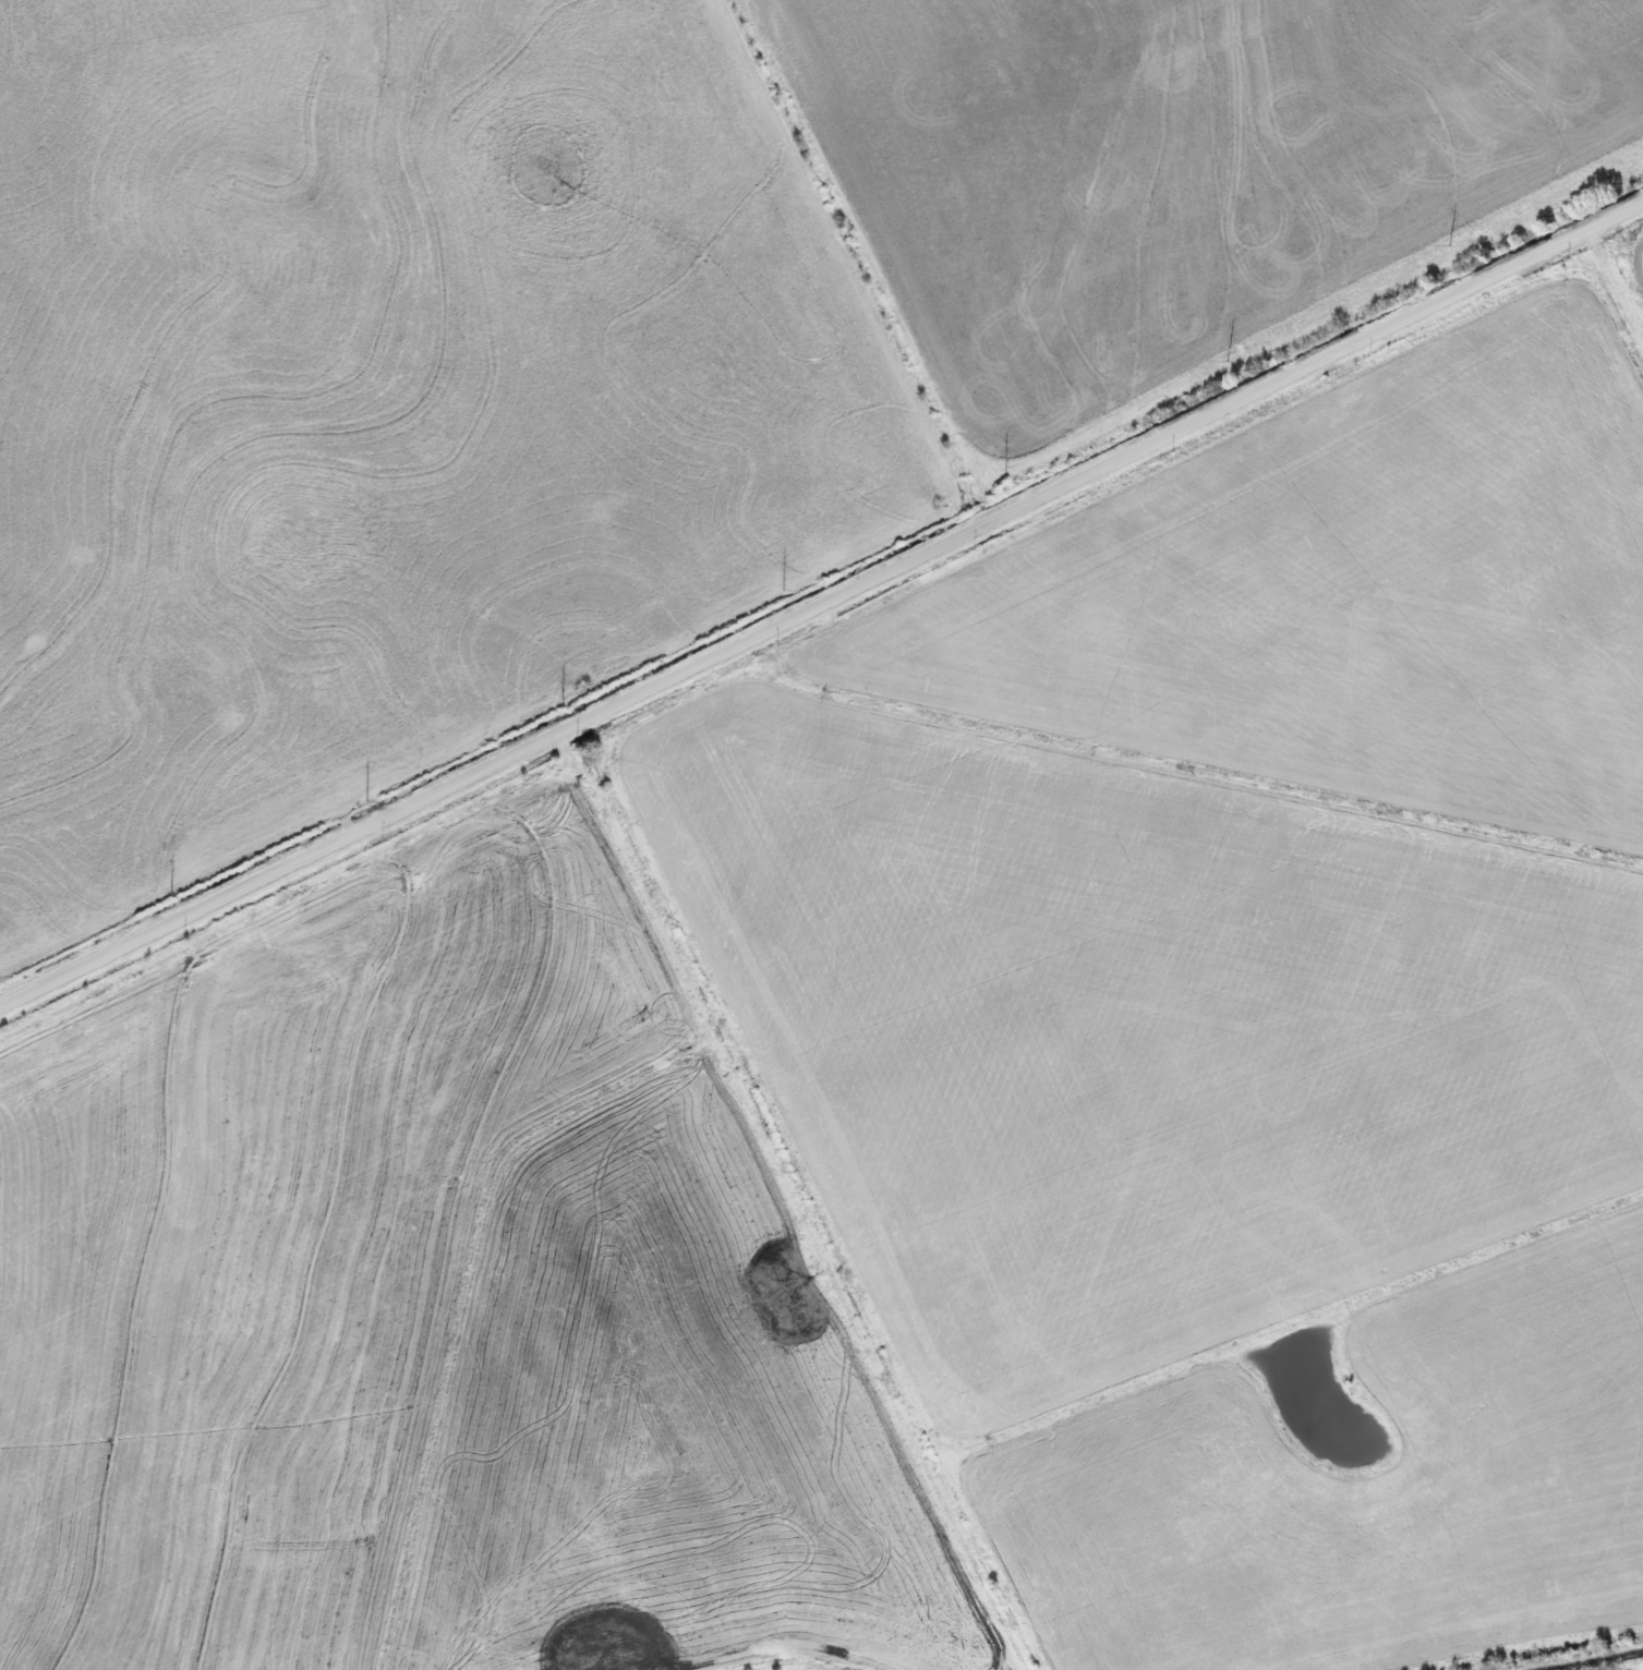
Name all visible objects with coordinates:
road: (823, 605)

